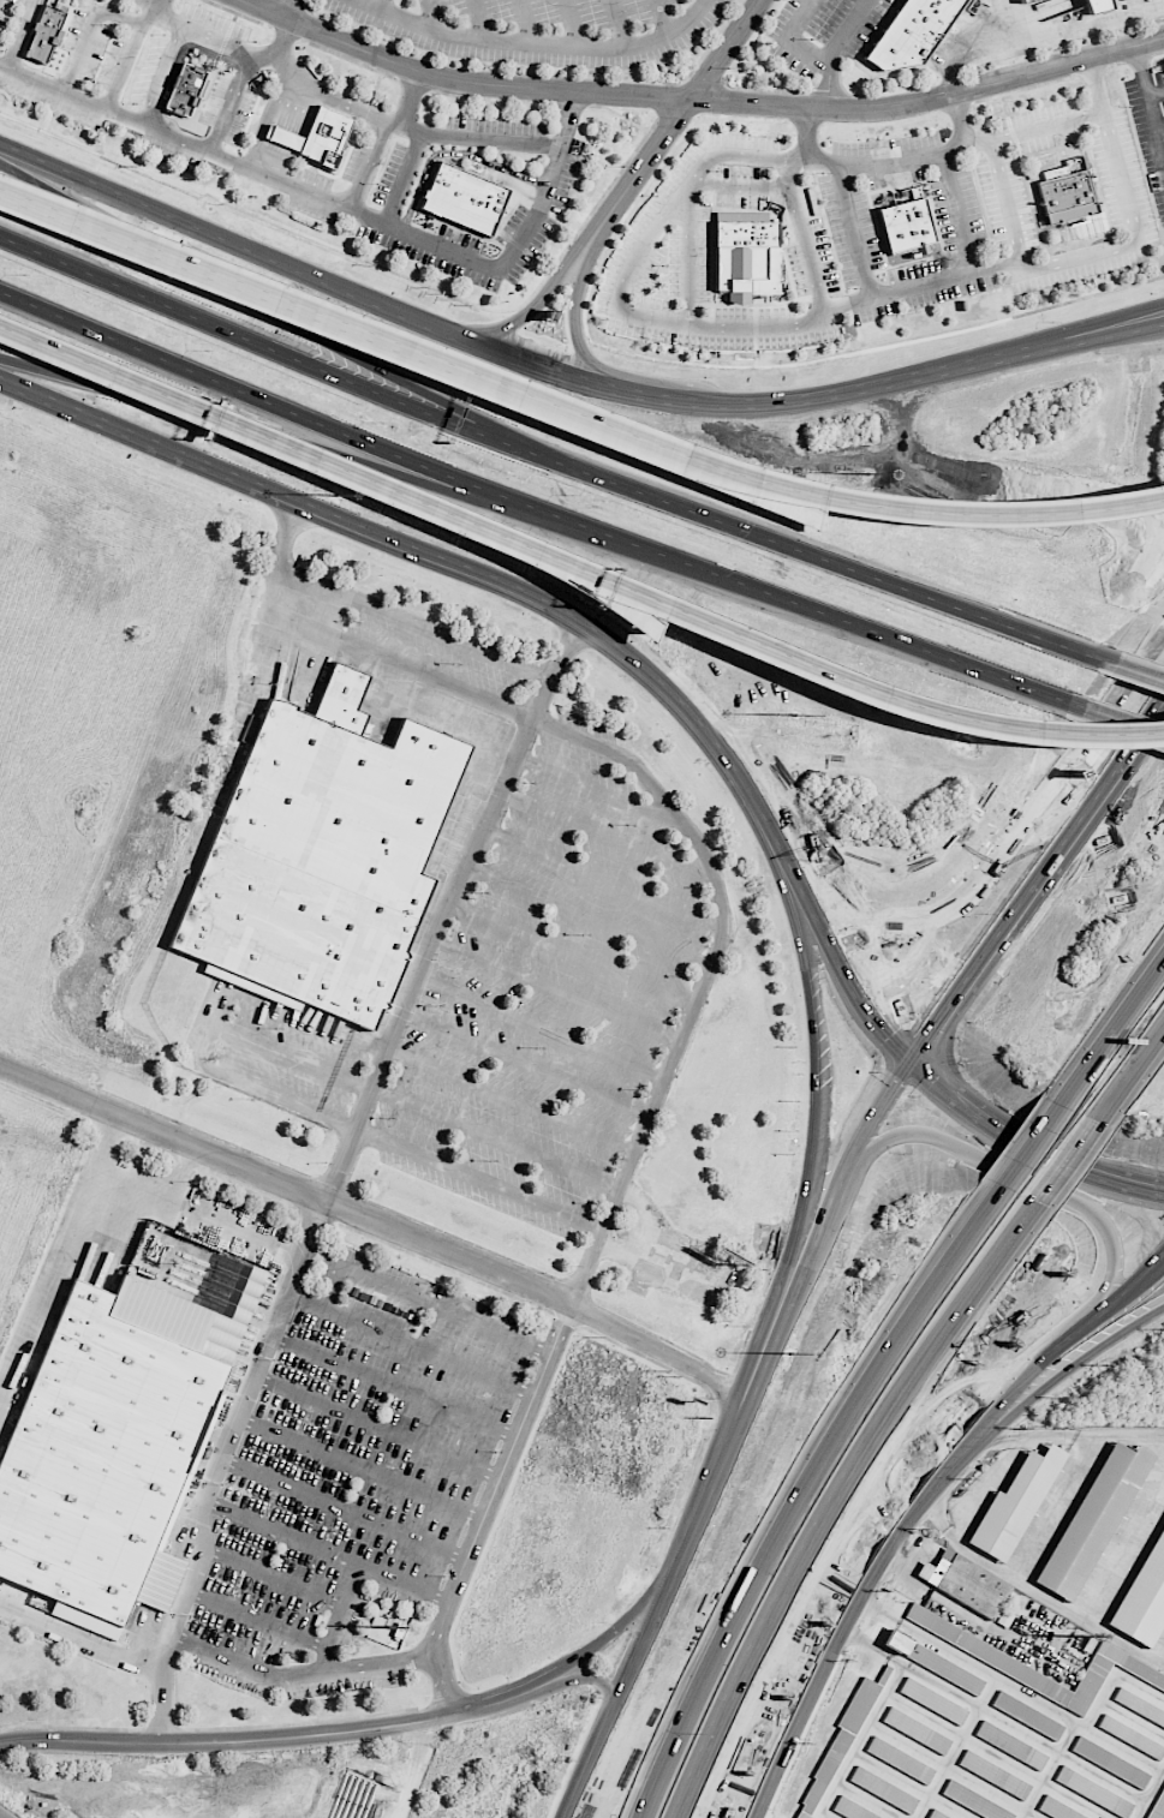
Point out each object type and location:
building: (1023, 0)
building: (1096, 5)
road: (147, 6)
road: (386, 7)
road: (289, 10)
road: (429, 14)
road: (663, 18)
road: (478, 20)
road: (524, 23)
road: (571, 24)
road: (617, 24)
road: (89, 32)
building: (911, 32)
building: (44, 35)
road: (1041, 38)
road: (783, 40)
road: (281, 41)
road: (533, 46)
road: (835, 52)
road: (127, 55)
road: (1141, 71)
road: (1097, 85)
building: (185, 90)
road: (345, 96)
road: (698, 98)
road: (411, 101)
road: (1153, 115)
road: (959, 116)
road: (675, 120)
road: (963, 134)
building: (324, 138)
road: (808, 146)
building: (1064, 196)
building: (464, 198)
road: (340, 202)
building: (906, 222)
road: (805, 238)
road: (1138, 244)
building: (748, 258)
road: (281, 264)
road: (997, 264)
road: (962, 271)
street lamp: (23, 275)
road: (225, 277)
road: (228, 288)
road: (620, 295)
road: (530, 309)
road: (1117, 316)
street lamp: (1052, 321)
road: (574, 322)
road: (1099, 340)
road: (1052, 341)
road: (265, 347)
street lamp: (207, 351)
road: (590, 388)
road: (860, 393)
road: (649, 401)
road: (95, 420)
street lamp: (382, 423)
road: (241, 426)
road: (497, 431)
road: (267, 439)
road: (219, 470)
street lamp: (870, 472)
road: (796, 492)
street lamp: (338, 496)
street lamp: (572, 496)
road: (539, 509)
road: (559, 524)
road: (824, 560)
road: (533, 592)
road: (411, 621)
road: (1140, 674)
road: (840, 681)
street lamp: (796, 716)
road: (1124, 723)
street lamp: (1085, 778)
road: (598, 789)
road: (657, 793)
road: (757, 815)
road: (607, 836)
road: (780, 845)
building: (318, 854)
road: (999, 865)
road: (603, 877)
road: (1035, 881)
road: (449, 909)
street lamp: (986, 913)
road: (591, 915)
road: (575, 952)
parking lot: (513, 969)
road: (846, 980)
road: (560, 989)
road: (543, 1028)
road: (1112, 1030)
road: (208, 1043)
traffic signals: (907, 1060)
road: (530, 1063)
road: (1128, 1081)
road: (1132, 1081)
road: (813, 1082)
road: (513, 1101)
road: (499, 1136)
road: (903, 1141)
road: (1027, 1141)
road: (1031, 1144)
road: (1072, 1166)
road: (183, 1171)
road: (132, 1179)
road: (482, 1179)
road: (1037, 1184)
road: (286, 1186)
road: (836, 1198)
road: (240, 1221)
road: (55, 1249)
road: (1158, 1272)
road: (329, 1287)
road: (447, 1309)
road: (411, 1345)
road: (664, 1351)
road: (396, 1383)
road: (861, 1391)
road: (975, 1423)
road: (380, 1424)
road: (1080, 1436)
road: (989, 1441)
building: (97, 1453)
road: (720, 1459)
road: (216, 1467)
road: (362, 1467)
road: (502, 1476)
parking lot: (356, 1479)
road: (841, 1500)
building: (1014, 1505)
road: (1049, 1506)
road: (345, 1508)
building: (1093, 1520)
road: (1123, 1542)
road: (329, 1547)
road: (271, 1577)
building: (966, 1583)
road: (1037, 1591)
building: (1146, 1601)
road: (339, 1616)
road: (257, 1617)
road: (875, 1628)
road: (614, 1634)
road: (82, 1643)
building: (987, 1653)
road: (1163, 1661)
building: (935, 1662)
road: (299, 1674)
road: (593, 1679)
road: (443, 1681)
road: (621, 1698)
building: (933, 1702)
building: (1140, 1706)
road: (680, 1712)
road: (700, 1712)
road: (798, 1712)
building: (1028, 1716)
building: (917, 1730)
building: (1132, 1736)
road: (277, 1738)
building: (1011, 1745)
building: (900, 1760)
building: (1111, 1763)
building: (995, 1775)
road: (412, 1778)
building: (884, 1789)
building: (1094, 1792)
building: (974, 1801)
building: (852, 1808)
building: (1057, 1811)
road: (2, 1816)

